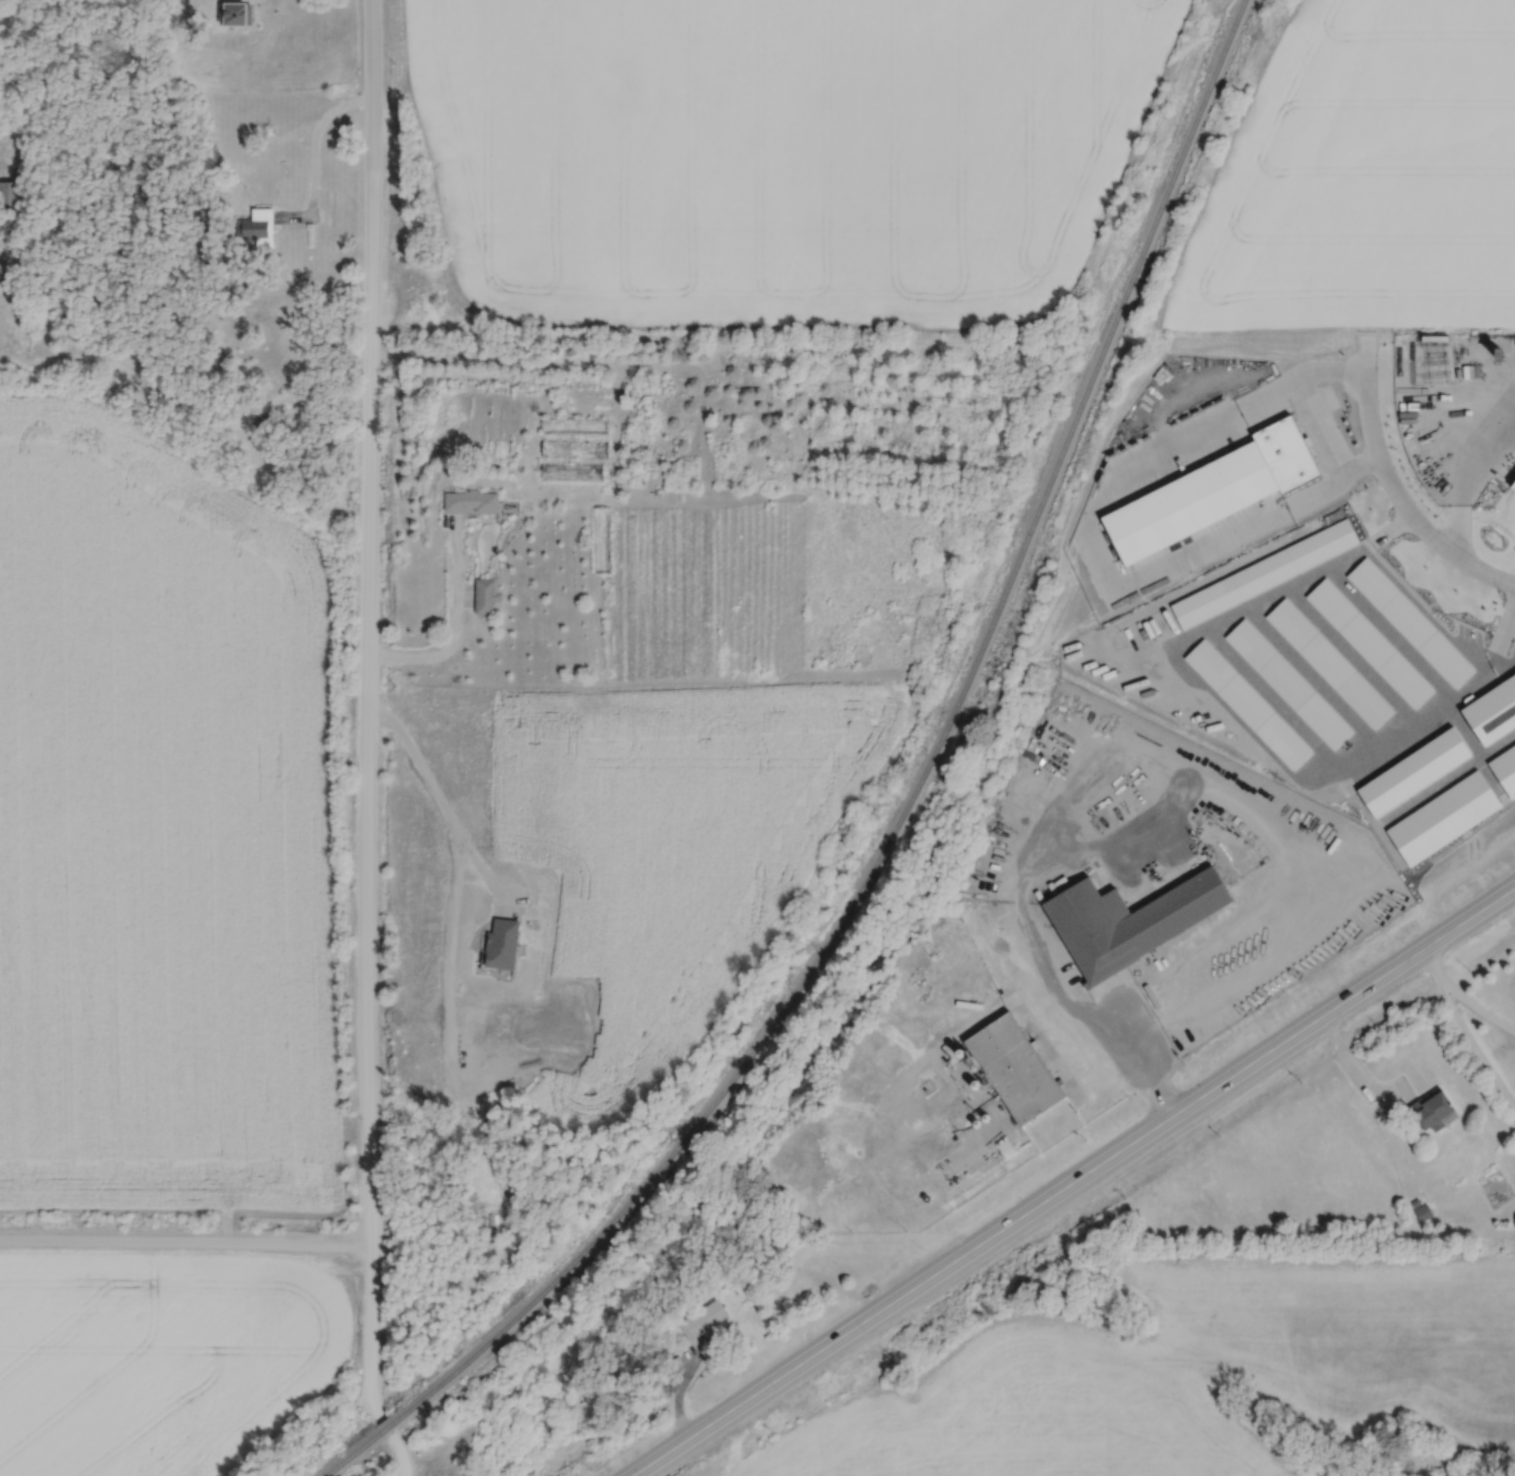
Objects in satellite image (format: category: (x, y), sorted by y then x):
road: (315, 164)
building: (10, 195)
building: (260, 228)
road: (1307, 407)
building: (577, 426)
road: (1468, 467)
building: (575, 473)
building: (475, 502)
road: (1406, 502)
road: (1389, 572)
building: (486, 596)
road: (454, 633)
road: (1501, 640)
road: (1463, 646)
road: (363, 710)
railway: (911, 797)
road: (440, 798)
building: (1126, 919)
building: (498, 942)
road: (1462, 1001)
road: (1083, 1041)
building: (1009, 1068)
road: (1358, 1079)
building: (1430, 1109)
road: (1076, 1183)
building: (1421, 1212)
road: (183, 1244)
building: (699, 1319)
road: (665, 1402)
road: (396, 1456)
railway: (341, 1463)

